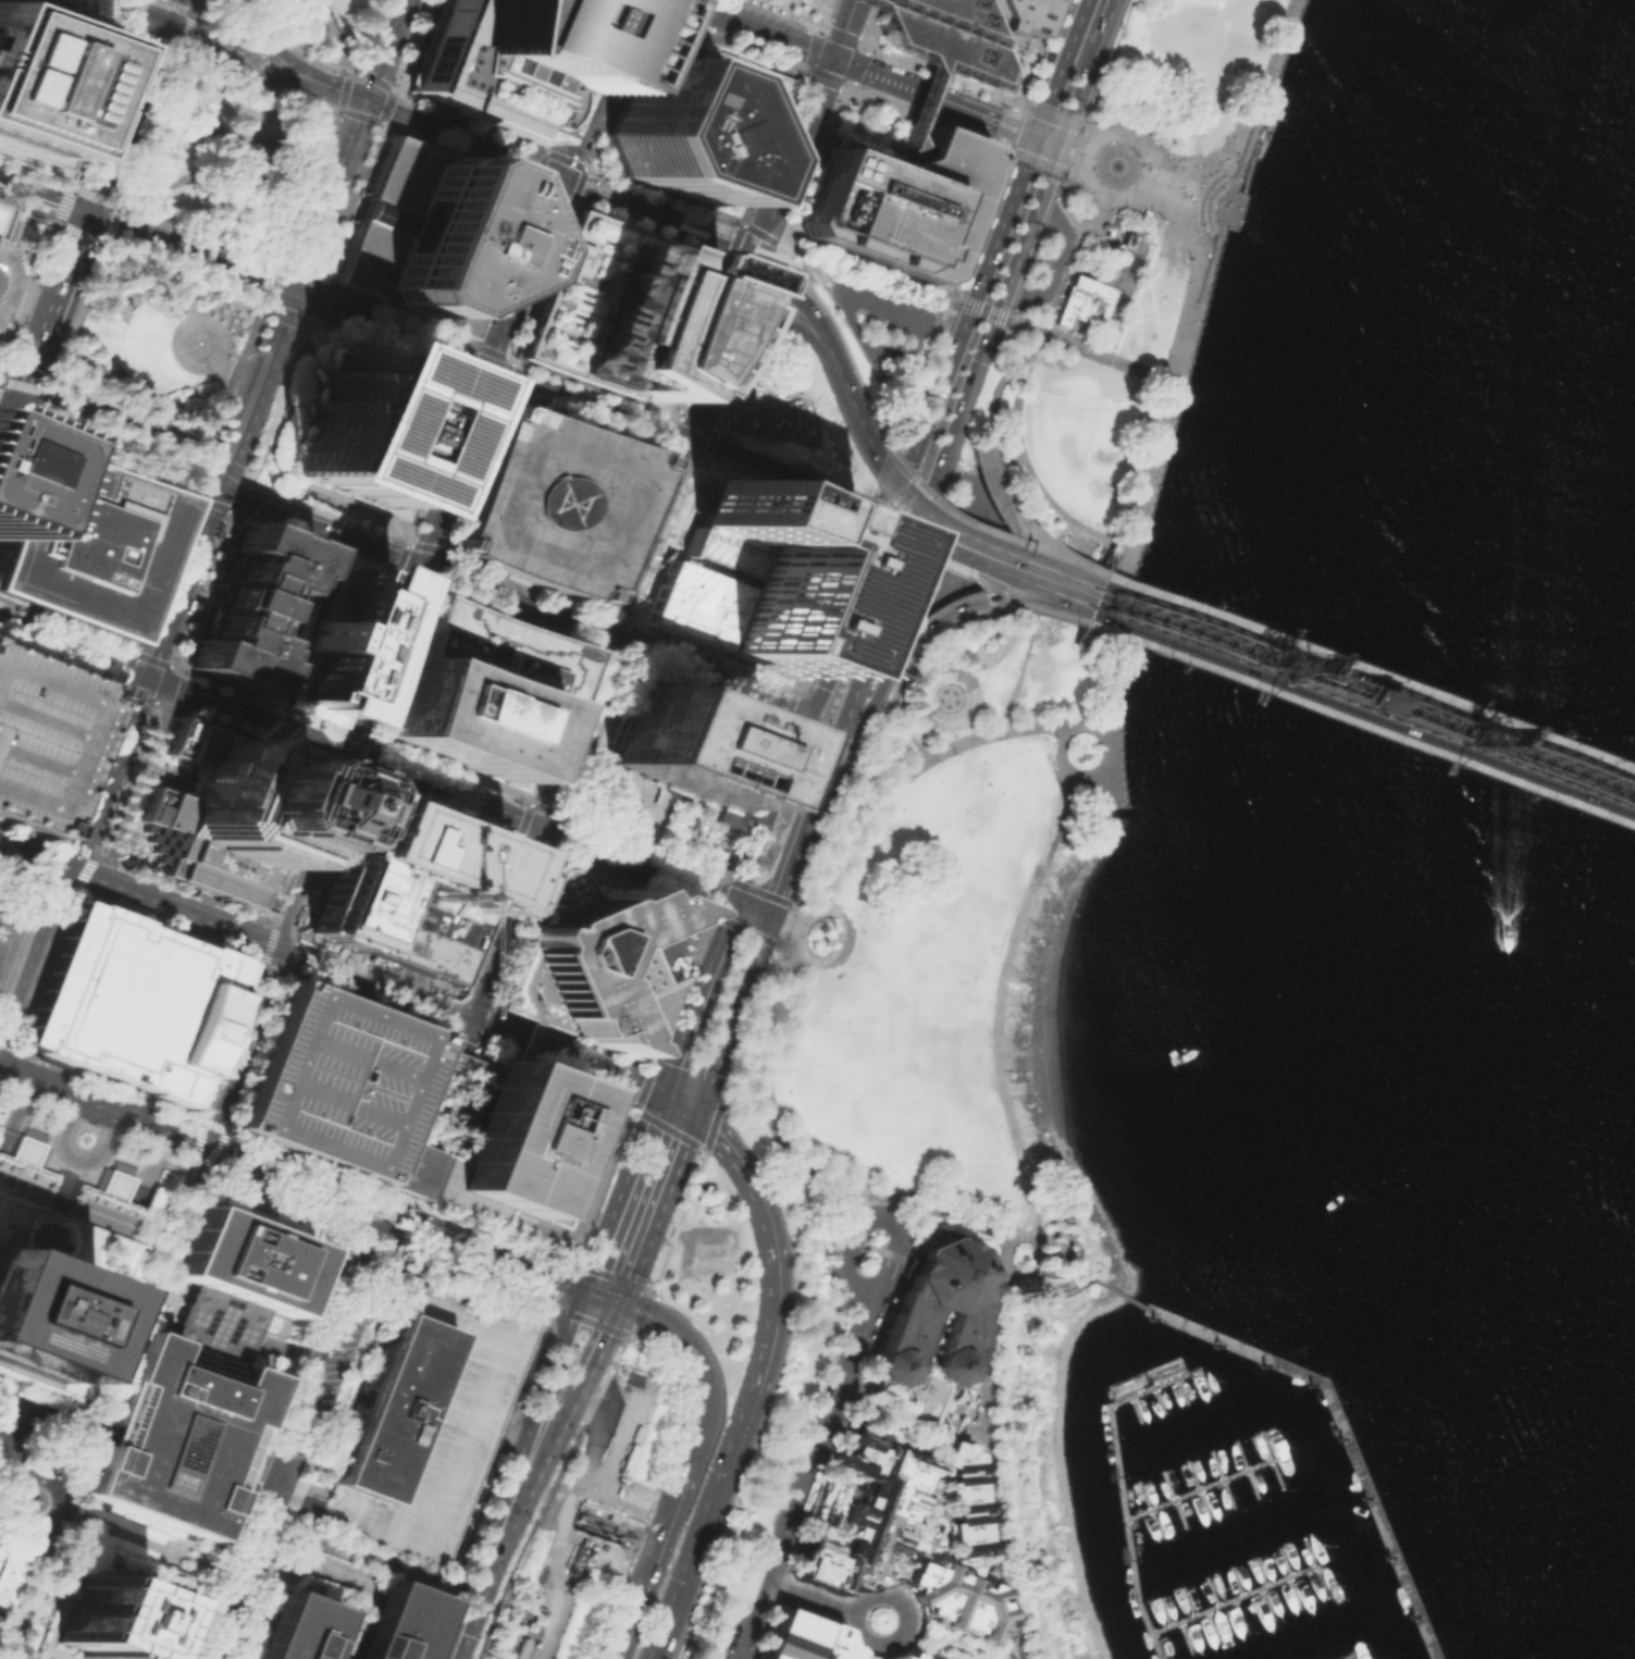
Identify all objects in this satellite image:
road: (165, 1)
road: (195, 5)
road: (205, 5)
road: (135, 11)
road: (648, 11)
road: (806, 12)
road: (89, 14)
building: (1017, 15)
road: (653, 16)
road: (1107, 21)
traffic signals: (163, 22)
park: (302, 22)
road: (819, 22)
road: (758, 27)
road: (843, 27)
road: (193, 33)
road: (274, 34)
road: (334, 35)
road: (363, 35)
road: (169, 44)
road: (269, 46)
road: (385, 50)
traffic signals: (833, 57)
building: (507, 58)
building: (929, 63)
road: (934, 65)
road: (1061, 66)
road: (257, 75)
road: (373, 79)
building: (49, 81)
road: (967, 82)
road: (253, 86)
road: (334, 87)
road: (845, 88)
road: (603, 89)
road: (1080, 91)
road: (202, 99)
road: (946, 99)
traffic signals: (366, 100)
road: (99, 107)
road: (131, 107)
road: (927, 117)
building: (696, 120)
road: (149, 126)
road: (504, 128)
road: (818, 131)
road: (286, 132)
traffic signals: (1037, 134)
road: (1238, 136)
pier: (1265, 137)
road: (468, 138)
traffic signals: (1061, 141)
road: (1069, 145)
road: (555, 148)
road: (236, 154)
road: (462, 154)
park: (227, 158)
road: (793, 159)
road: (1254, 160)
fountain: (1116, 164)
road: (35, 172)
road: (1166, 179)
traffic signals: (569, 181)
road: (170, 183)
road: (308, 187)
road: (1141, 190)
road: (1228, 190)
road: (94, 195)
road: (327, 195)
road: (1056, 195)
road: (1236, 195)
road: (44, 197)
road: (352, 202)
building: (895, 203)
road: (27, 212)
traffic signals: (89, 214)
road: (255, 215)
building: (205, 218)
road: (661, 219)
building: (7, 223)
road: (60, 224)
road: (1029, 227)
building: (1105, 228)
road: (657, 230)
road: (740, 232)
building: (433, 235)
road: (199, 236)
building: (1125, 239)
road: (103, 244)
road: (189, 252)
road: (1043, 258)
traffic signals: (754, 261)
road: (871, 263)
parking lot: (1055, 263)
road: (1066, 263)
road: (512, 264)
road: (1193, 265)
road: (280, 267)
road: (184, 275)
road: (776, 275)
road: (552, 280)
traffic signals: (980, 282)
park: (1122, 284)
traffic signals: (290, 292)
road: (185, 293)
road: (759, 294)
road: (27, 295)
road: (860, 295)
road: (739, 302)
building: (1083, 302)
building: (627, 308)
road: (806, 308)
road: (982, 309)
road: (53, 312)
road: (404, 312)
road: (1189, 315)
road: (75, 320)
road: (307, 320)
road: (844, 320)
parking lot: (884, 320)
road: (1026, 325)
road: (747, 329)
road: (394, 330)
road: (203, 338)
road: (702, 339)
road: (812, 339)
road: (843, 343)
road: (1033, 348)
park: (153, 349)
road: (387, 350)
road: (1106, 358)
road: (520, 359)
road: (475, 360)
traffic signals: (979, 361)
road: (223, 362)
road: (1012, 369)
traffic signals: (497, 370)
road: (496, 372)
road: (222, 377)
road: (234, 377)
road: (513, 377)
road: (253, 387)
road: (598, 387)
road: (704, 393)
road: (47, 396)
road: (276, 401)
road: (592, 405)
road: (8, 406)
traffic signals: (16, 410)
road: (855, 417)
road: (5, 423)
road: (926, 423)
road: (582, 424)
road: (125, 425)
building: (361, 429)
road: (8, 431)
road: (28, 432)
road: (666, 434)
traffic signals: (688, 442)
road: (116, 447)
road: (710, 449)
road: (437, 461)
road: (111, 463)
road: (992, 465)
road: (878, 467)
road: (698, 468)
road: (995, 469)
road: (475, 471)
road: (904, 473)
road: (15, 474)
road: (887, 476)
road: (798, 481)
road: (1033, 481)
road: (907, 483)
traffic signals: (218, 485)
road: (795, 490)
road: (244, 491)
road: (776, 497)
helipad: (555, 502)
building: (554, 503)
parking lot: (554, 503)
road: (912, 506)
road: (326, 512)
road: (4, 513)
road: (356, 513)
road: (320, 524)
road: (1023, 524)
road: (903, 527)
road: (986, 531)
road: (630, 532)
road: (913, 536)
road: (649, 538)
building: (84, 541)
road: (954, 542)
road: (411, 543)
road: (315, 544)
road: (971, 547)
road: (933, 549)
road: (853, 554)
road: (920, 557)
road: (984, 560)
road: (1072, 560)
road: (1046, 564)
traffic signals: (423, 565)
road: (1100, 571)
road: (1115, 571)
road: (161, 572)
building: (748, 577)
road: (1042, 578)
road: (523, 579)
road: (203, 590)
road: (1015, 592)
road: (1045, 596)
road: (986, 598)
road: (518, 599)
road: (958, 604)
building: (250, 606)
road: (1002, 606)
road: (1192, 607)
road: (600, 609)
road: (1049, 610)
road: (1189, 616)
road: (945, 621)
traffic signals: (1156, 621)
road: (1081, 623)
road: (65, 624)
road: (1101, 631)
road: (1182, 631)
building: (322, 634)
traffic signals: (1150, 635)
traffic signals: (614, 636)
traffic signals: (1147, 644)
road: (1178, 645)
road: (1116, 648)
road: (132, 649)
road: (369, 653)
road: (1175, 654)
road: (893, 656)
road: (387, 659)
road: (899, 661)
road: (59, 664)
road: (170, 672)
road: (711, 673)
traffic signals: (145, 676)
road: (804, 676)
road: (144, 677)
road: (1377, 677)
road: (1374, 684)
road: (175, 686)
building: (480, 689)
road: (127, 691)
road: (792, 694)
road: (257, 698)
road: (1368, 699)
road: (161, 704)
road: (893, 706)
traffic signals: (810, 710)
road: (1363, 715)
road: (1360, 722)
road: (577, 731)
road: (817, 731)
road: (919, 733)
building: (42, 735)
parking lot: (42, 735)
road: (245, 738)
road: (1552, 741)
road: (333, 750)
road: (1550, 750)
building: (688, 753)
traffic signals: (351, 754)
traffic signals: (1588, 755)
road: (1528, 759)
road: (1108, 764)
traffic signals: (1586, 764)
road: (88, 765)
road: (1085, 775)
traffic signals: (1581, 779)
road: (136, 781)
road: (1545, 781)
road: (833, 784)
road: (446, 790)
road: (1544, 790)
road: (1615, 791)
flagpole: (639, 792)
flagpole: (635, 802)
road: (769, 803)
flagpole: (632, 812)
building: (224, 814)
road: (790, 819)
flagpole: (628, 821)
traffic signals: (541, 827)
road: (29, 830)
road: (849, 834)
road: (296, 844)
road: (80, 850)
road: (314, 850)
road: (36, 855)
road: (100, 855)
road: (636, 862)
traffic signals: (72, 869)
road: (17, 871)
road: (49, 884)
building: (405, 886)
road: (186, 888)
road: (29, 893)
road: (763, 897)
traffic signals: (732, 899)
road: (12, 903)
road: (745, 903)
road: (174, 908)
traffic signals: (758, 908)
park: (13, 914)
road: (776, 915)
road: (271, 921)
road: (504, 923)
road: (281, 925)
road: (166, 929)
road: (791, 933)
road: (679, 938)
road: (839, 941)
road: (12, 942)
road: (741, 954)
road: (35, 963)
road: (262, 964)
building: (592, 966)
road: (42, 969)
flagpole: (678, 969)
flagpole: (672, 973)
flagpole: (667, 976)
road: (407, 982)
road: (693, 1000)
road: (629, 1001)
building: (135, 1004)
road: (363, 1004)
river: (1614, 1004)
park: (958, 1007)
road: (994, 1008)
traffic signals: (468, 1019)
road: (478, 1023)
road: (666, 1041)
road: (232, 1042)
road: (240, 1043)
road: (524, 1043)
road: (5, 1045)
road: (481, 1050)
road: (257, 1052)
road: (704, 1054)
road: (763, 1058)
road: (461, 1061)
road: (766, 1074)
road: (557, 1077)
road: (108, 1082)
road: (443, 1082)
building: (340, 1089)
parking lot: (340, 1089)
traffic signals: (676, 1104)
road: (721, 1109)
road: (15, 1112)
road: (413, 1112)
road: (713, 1121)
road: (449, 1125)
road: (215, 1126)
road: (100, 1131)
road: (197, 1137)
traffic signals: (205, 1141)
road: (76, 1155)
building: (532, 1157)
road: (306, 1160)
road: (411, 1169)
road: (193, 1177)
road: (605, 1185)
road: (401, 1194)
road: (274, 1196)
road: (640, 1200)
road: (859, 1200)
road: (397, 1202)
road: (931, 1204)
traffic signals: (394, 1213)
building: (261, 1223)
road: (917, 1225)
road: (768, 1230)
road: (498, 1233)
building: (302, 1239)
road: (897, 1240)
road: (498, 1252)
building: (243, 1260)
road: (161, 1261)
road: (844, 1262)
building: (63, 1265)
road: (1013, 1271)
road: (1052, 1287)
traffic signals: (602, 1296)
road: (1122, 1296)
road: (865, 1322)
road: (635, 1323)
road: (602, 1325)
building: (230, 1328)
building: (927, 1333)
road: (635, 1337)
road: (324, 1339)
road: (558, 1347)
road: (635, 1357)
road: (694, 1359)
road: (592, 1364)
flagpole: (283, 1365)
flagpole: (294, 1370)
pier: (1167, 1371)
road: (842, 1385)
pier: (1128, 1386)
road: (980, 1390)
pier: (1136, 1395)
road: (597, 1408)
road: (962, 1409)
road: (47, 1413)
building: (424, 1421)
road: (24, 1432)
building: (176, 1435)
road: (971, 1438)
road: (821, 1441)
road: (986, 1445)
pier: (1355, 1457)
road: (17, 1458)
park: (36, 1459)
road: (929, 1476)
road: (33, 1478)
road: (296, 1486)
pier: (1207, 1486)
road: (546, 1494)
parking lot: (590, 1501)
road: (798, 1505)
road: (73, 1514)
building: (865, 1515)
road: (943, 1516)
road: (28, 1518)
road: (580, 1519)
road: (704, 1524)
road: (59, 1527)
road: (245, 1531)
pier: (1130, 1533)
road: (494, 1536)
road: (927, 1539)
road: (264, 1551)
road: (928, 1551)
road: (174, 1553)
road: (355, 1555)
building: (962, 1558)
road: (982, 1561)
road: (651, 1565)
road: (216, 1570)
building: (9, 1574)
road: (769, 1582)
road: (315, 1583)
road: (505, 1587)
road: (541, 1592)
road: (463, 1595)
road: (812, 1597)
pier: (1241, 1597)
road: (483, 1602)
building: (113, 1606)
parking lot: (113, 1606)
road: (855, 1608)
road: (508, 1612)
building: (530, 1618)
building: (0, 1619)
road: (207, 1623)
building: (397, 1623)
road: (231, 1629)
building: (295, 1629)
building: (790, 1635)
road: (962, 1638)
road: (747, 1641)
building: (832, 1644)
road: (932, 1645)
road: (865, 1650)
building: (903, 1655)
pier: (1353, 1655)
building: (1001, 1656)
road: (1001, 1657)
road: (987, 1658)

